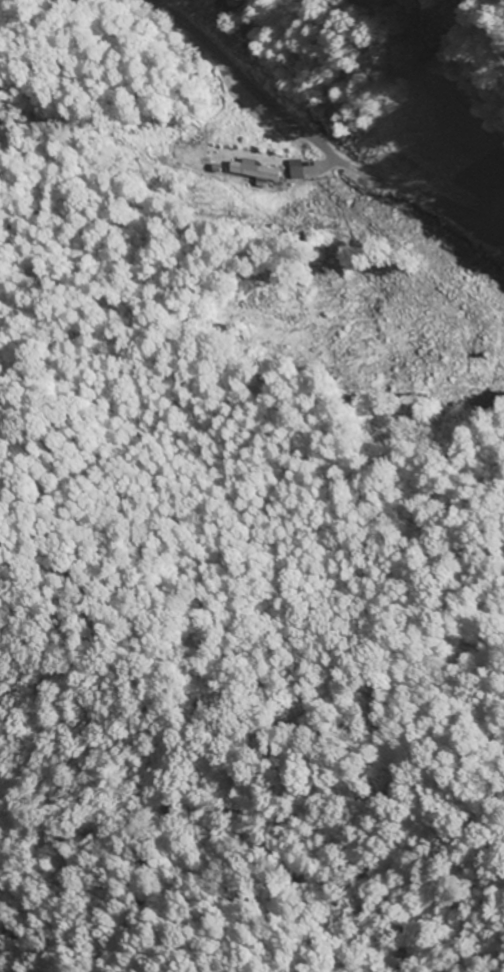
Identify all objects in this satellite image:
road: (254, 84)
building: (303, 171)
building: (260, 173)

